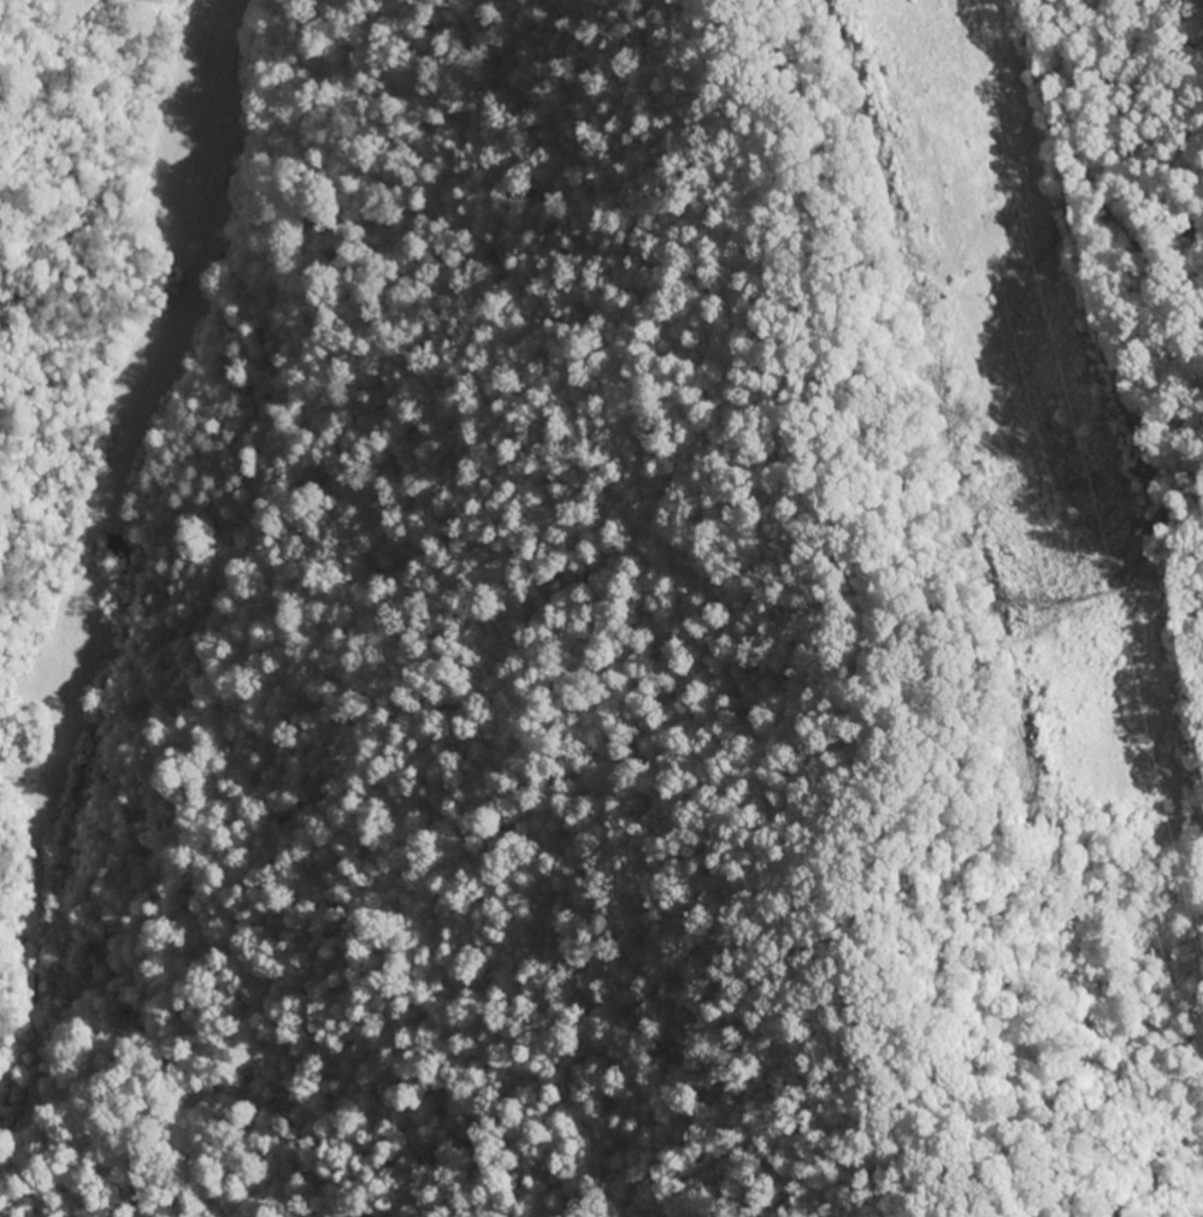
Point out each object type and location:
power tower: (1087, 627)

